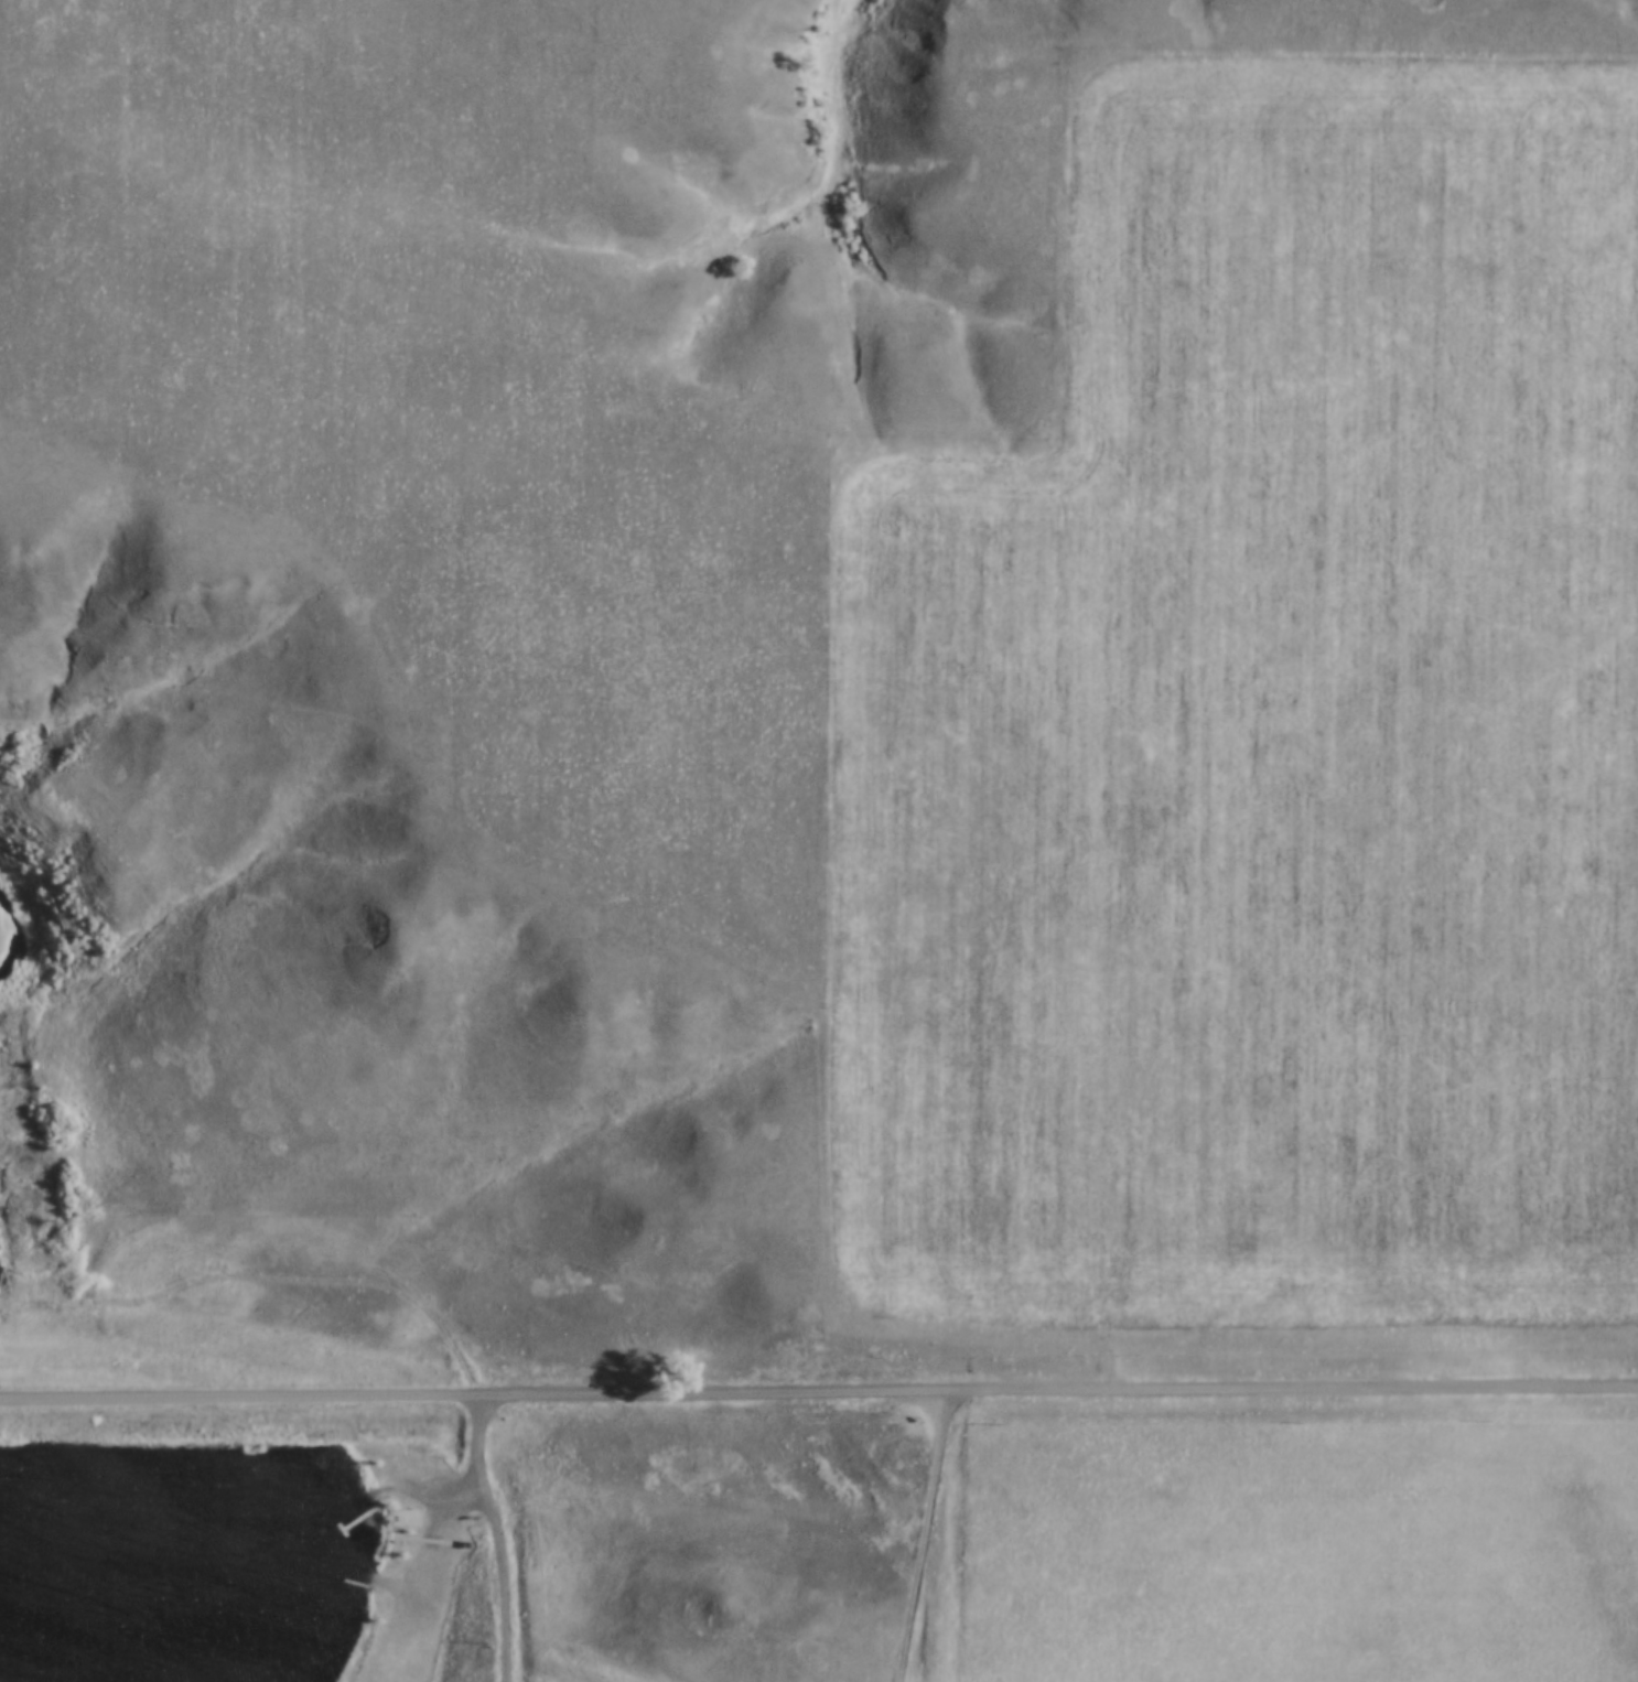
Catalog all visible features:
road: (818, 1389)
dam: (173, 1440)
road: (419, 1522)
road: (499, 1534)
road: (925, 1534)
park: (484, 1551)
road: (378, 1578)

